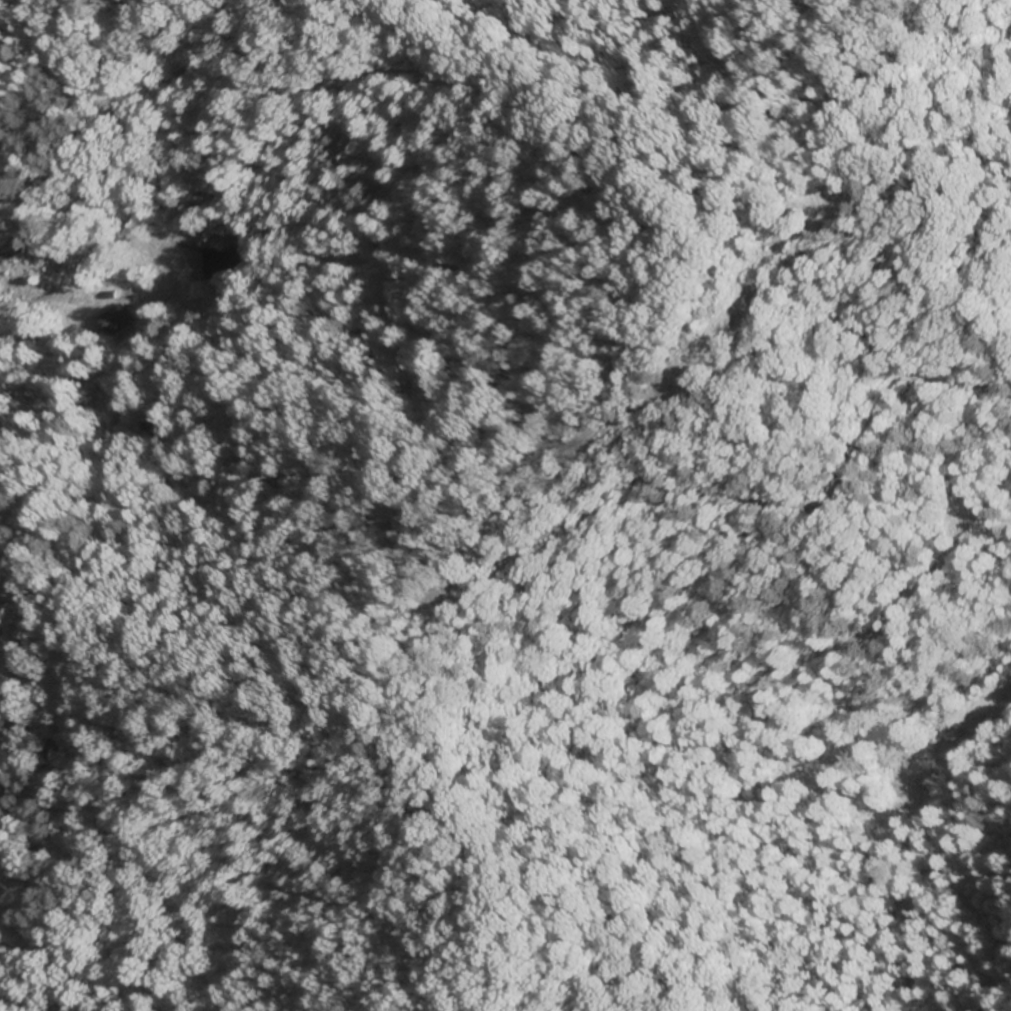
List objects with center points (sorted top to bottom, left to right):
building: (109, 319)
building: (152, 427)

